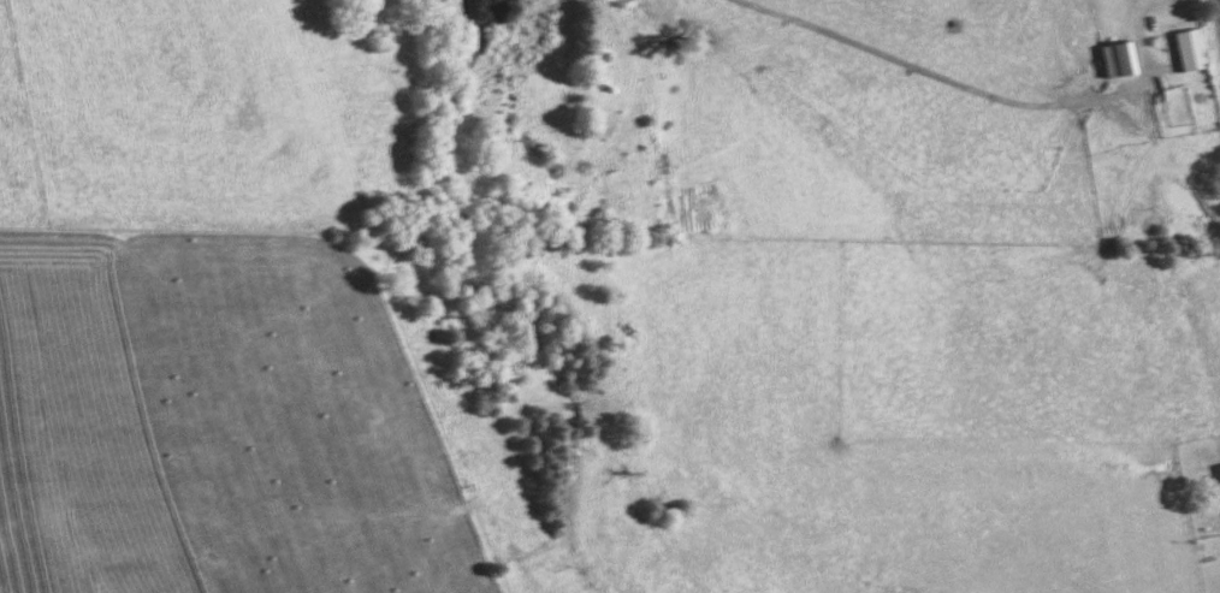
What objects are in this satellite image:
building: (1184, 53)
building: (1114, 61)
building: (694, 210)
building: (1219, 469)

